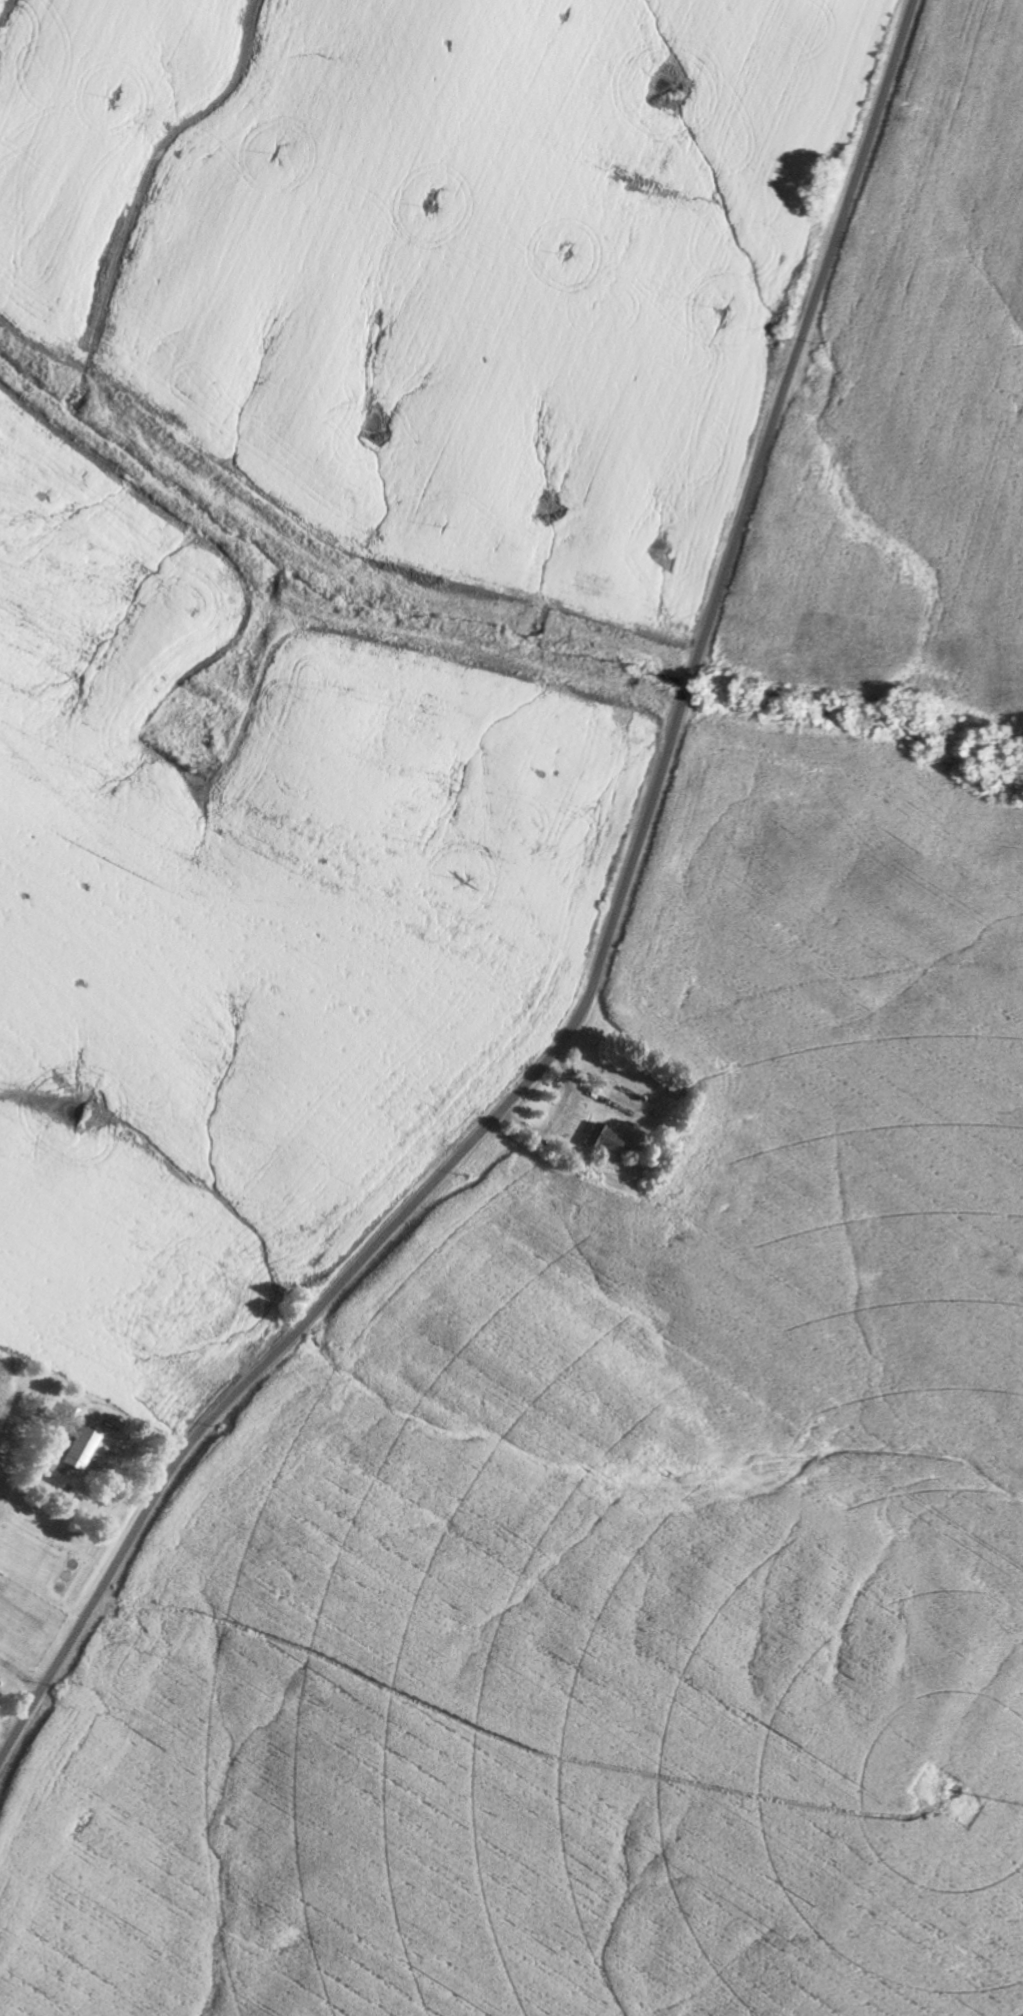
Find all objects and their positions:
road: (602, 962)
building: (603, 1140)
building: (78, 1450)
building: (46, 1461)

